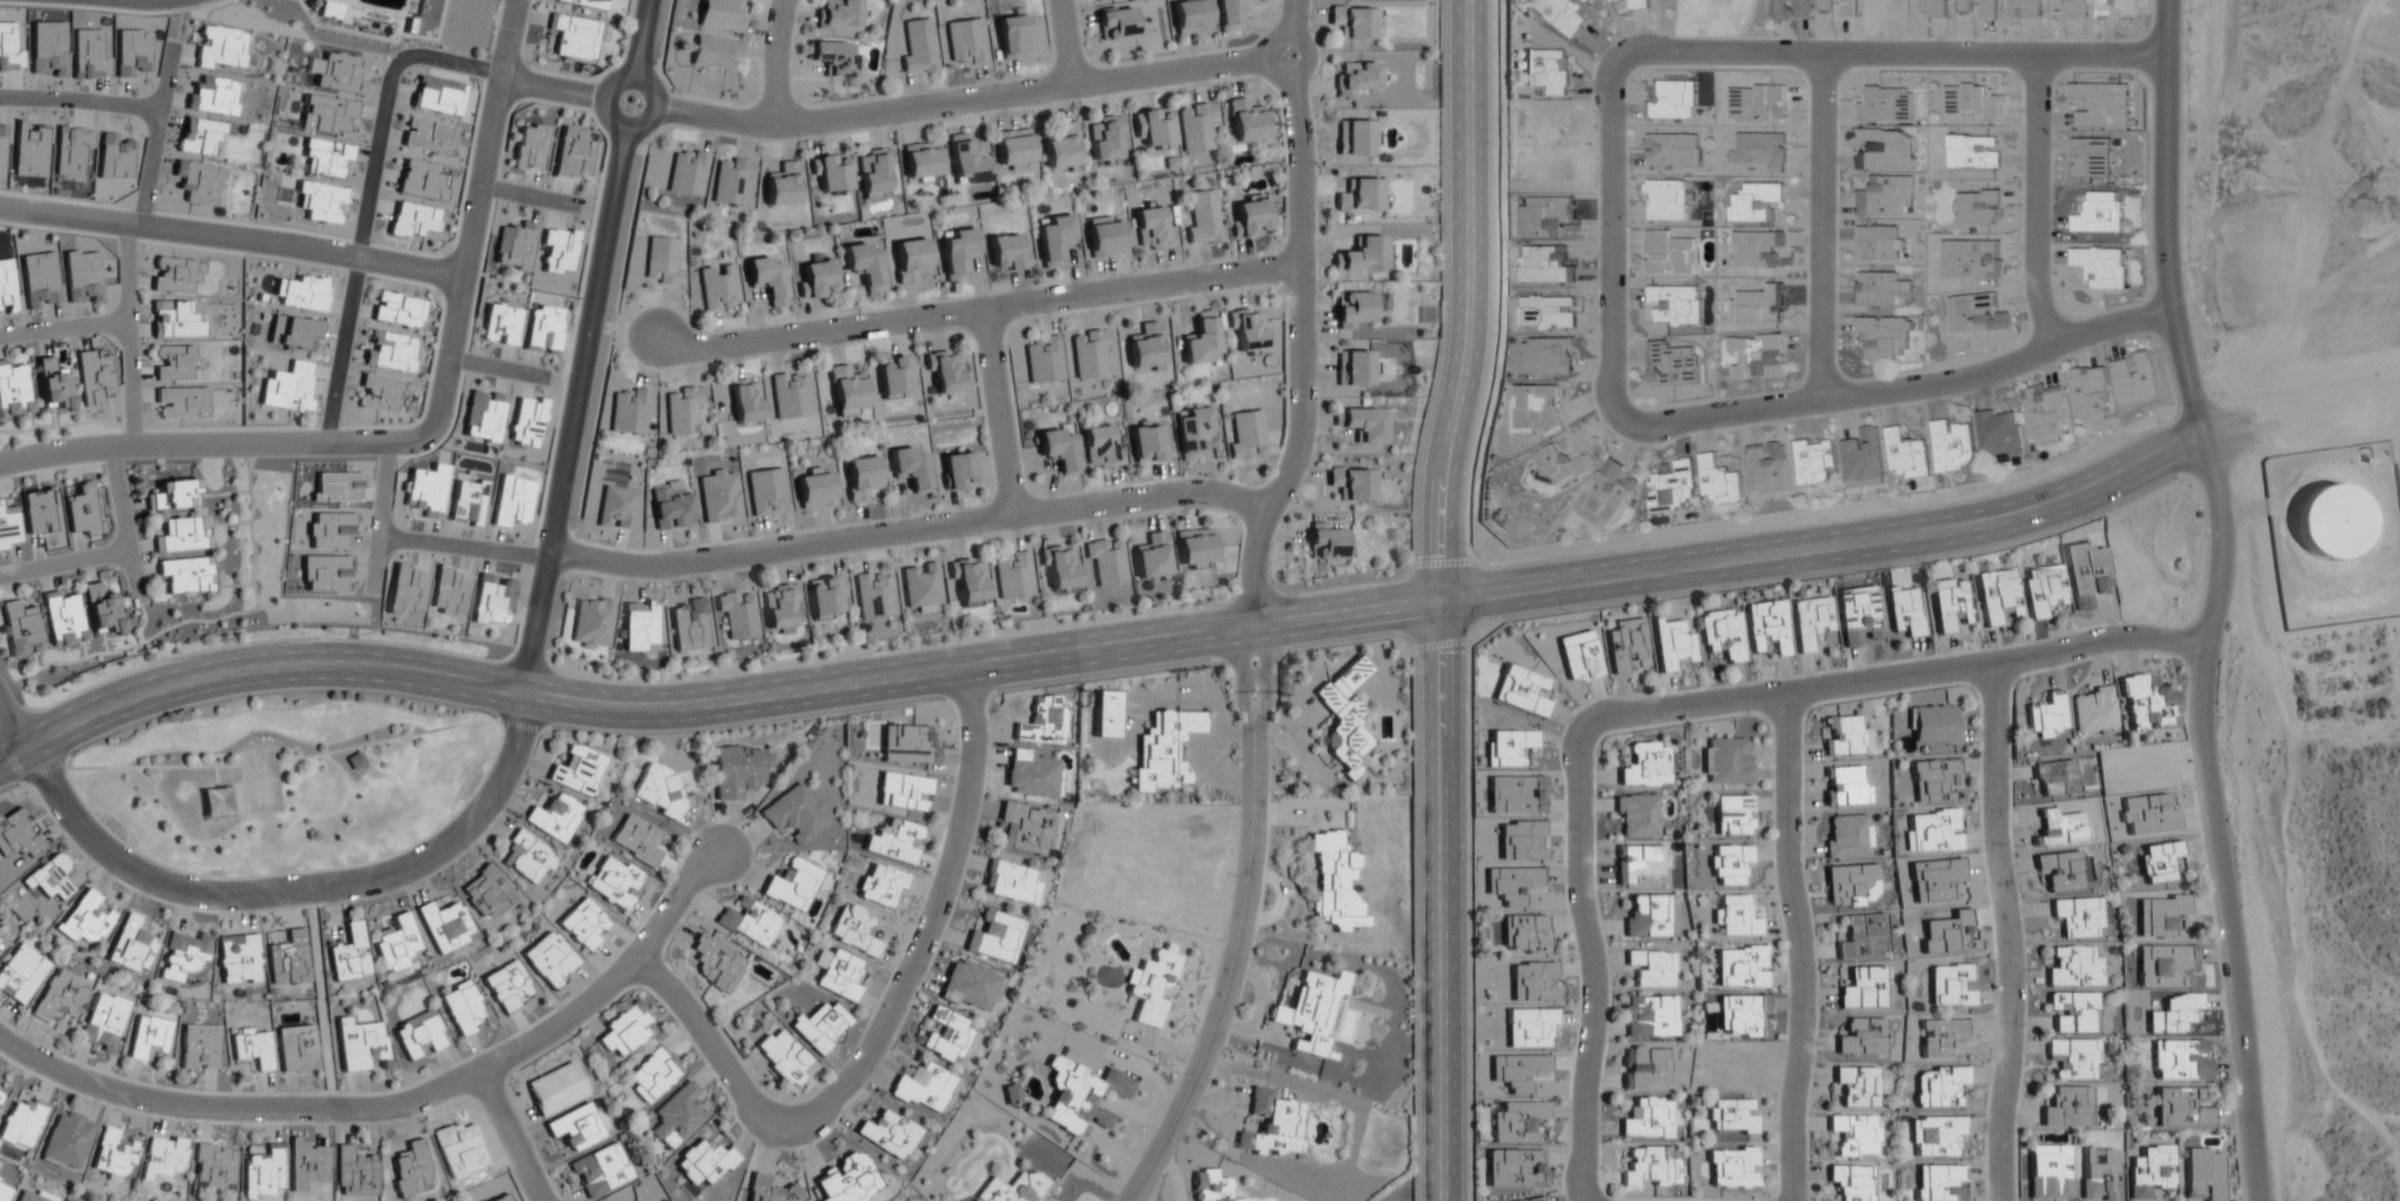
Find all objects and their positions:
building: (587, 4)
building: (1639, 4)
building: (2073, 8)
building: (2117, 8)
building: (330, 10)
building: (1790, 10)
street lamp: (177, 13)
building: (839, 13)
building: (1563, 13)
building: (1230, 14)
building: (722, 15)
building: (1190, 17)
road: (1293, 18)
building: (1360, 24)
building: (368, 25)
building: (1116, 25)
street lamp: (1261, 31)
street lamp: (1814, 36)
street lamp: (2047, 36)
building: (574, 37)
building: (1013, 37)
building: (965, 42)
road: (1065, 42)
building: (919, 46)
building: (220, 48)
street lamp: (1438, 50)
building: (713, 55)
building: (833, 57)
street lamp: (1595, 58)
road: (780, 59)
building: (1547, 69)
building: (338, 73)
road: (1287, 76)
building: (1356, 78)
building: (212, 94)
building: (437, 95)
road: (81, 99)
building: (1972, 100)
street lamp: (1078, 102)
building: (2102, 103)
road: (382, 106)
road: (880, 111)
building: (326, 115)
building: (1246, 122)
building: (1197, 128)
building: (1154, 130)
road: (156, 133)
building: (428, 136)
building: (201, 137)
building: (1356, 138)
building: (1105, 139)
building: (1, 145)
street lamp: (1497, 145)
building: (529, 146)
building: (1671, 149)
building: (1062, 150)
building: (1973, 150)
building: (1014, 151)
building: (572, 155)
building: (2091, 156)
building: (325, 159)
building: (921, 164)
building: (966, 164)
building: (687, 172)
building: (831, 174)
building: (874, 175)
building: (422, 181)
building: (200, 182)
building: (732, 183)
building: (783, 186)
road: (519, 193)
building: (1359, 196)
building: (1665, 199)
road: (2036, 200)
building: (1758, 201)
building: (320, 202)
building: (1977, 206)
street lamp: (158, 209)
building: (2099, 212)
building: (1203, 218)
building: (1249, 219)
building: (411, 220)
street lamp: (1440, 224)
street lamp: (1803, 226)
road: (1821, 226)
building: (1152, 227)
road: (227, 237)
building: (1104, 237)
street lamp: (344, 238)
building: (1053, 239)
street lamp: (1593, 239)
building: (1878, 241)
building: (515, 245)
road: (1611, 246)
building: (558, 250)
building: (1008, 252)
building: (957, 253)
building: (1669, 253)
building: (1362, 254)
building: (1973, 257)
building: (661, 260)
building: (911, 260)
building: (864, 265)
building: (2100, 265)
building: (175, 273)
building: (815, 278)
building: (39, 279)
building: (767, 279)
building: (6, 288)
building: (1877, 288)
building: (718, 289)
building: (300, 294)
building: (1677, 303)
building: (397, 309)
building: (1354, 309)
building: (1977, 313)
road: (978, 314)
building: (175, 320)
building: (500, 323)
road: (63, 327)
building: (542, 329)
building: (1248, 329)
building: (292, 332)
road: (128, 333)
street lamp: (1495, 335)
building: (1885, 335)
building: (1201, 339)
road: (588, 346)
building: (1146, 347)
road: (341, 350)
building: (390, 351)
street lamp: (115, 352)
building: (1089, 354)
building: (1759, 354)
road: (1300, 357)
building: (1044, 359)
building: (174, 363)
building: (1671, 363)
road: (492, 365)
building: (1354, 369)
building: (945, 372)
building: (895, 375)
building: (2136, 377)
building: (52, 384)
building: (13, 388)
building: (288, 388)
building: (848, 390)
building: (379, 394)
building: (2091, 394)
building: (790, 395)
street lamp: (1429, 397)
building: (745, 402)
building: (181, 403)
building: (1535, 408)
building: (628, 411)
building: (2046, 411)
building: (681, 413)
road: (1002, 413)
street lamp: (1594, 414)
building: (483, 416)
street lamp: (1788, 421)
road: (2320, 421)
building: (527, 422)
street lamp: (2163, 422)
road: (423, 423)
building: (1362, 423)
building: (1191, 432)
building: (2001, 432)
building: (1246, 434)
building: (1149, 444)
building: (1953, 445)
building: (1100, 447)
building: (1058, 449)
building: (1908, 453)
street lamp: (418, 455)
building: (1814, 458)
building: (1864, 458)
street lamp: (174, 461)
building: (1556, 465)
building: (909, 467)
building: (958, 471)
building: (861, 477)
building: (1722, 479)
building: (1353, 483)
building: (1674, 486)
building: (814, 490)
street lamp: (1999, 490)
building: (766, 492)
building: (1607, 492)
building: (174, 495)
building: (718, 497)
building: (467, 502)
building: (670, 505)
building: (616, 508)
building: (37, 511)
building: (81, 511)
road: (379, 518)
street lamp: (1825, 518)
street lamp: (2090, 520)
building: (2331, 521)
water tower: (2331, 522)
road: (124, 523)
building: (8, 528)
road: (907, 529)
building: (182, 535)
building: (1328, 542)
road: (464, 543)
street lamp: (1646, 543)
street lamp: (1467, 545)
building: (1195, 548)
building: (1152, 558)
road: (64, 562)
building: (1108, 564)
street lamp: (1922, 564)
building: (1060, 570)
building: (187, 576)
building: (1012, 576)
street lamp: (1393, 578)
street lamp: (121, 579)
building: (968, 580)
building: (920, 586)
street lamp: (1744, 587)
building: (407, 590)
building: (2043, 590)
building: (874, 595)
building: (1998, 595)
road: (1441, 598)
building: (825, 599)
road: (2216, 599)
building: (493, 600)
building: (1949, 603)
street lamp: (1214, 604)
building: (780, 609)
building: (101, 610)
building: (1904, 610)
street lamp: (1567, 612)
building: (1857, 614)
building: (737, 615)
building: (62, 618)
building: (1810, 621)
building: (591, 623)
building: (638, 624)
building: (689, 625)
building: (1766, 625)
building: (20, 628)
building: (1721, 635)
street lamp: (241, 642)
road: (1135, 642)
building: (1626, 643)
street lamp: (925, 644)
building: (1673, 644)
street lamp: (1986, 646)
building: (1580, 656)
street lamp: (491, 658)
road: (1264, 675)
street lamp: (689, 677)
road: (1242, 677)
street lamp: (1750, 679)
street lamp: (2186, 679)
building: (1522, 691)
street lamp: (1468, 692)
street lamp: (1252, 704)
building: (2144, 704)
street lamp: (1580, 705)
road: (1659, 709)
building: (2093, 710)
building: (1105, 715)
building: (1343, 716)
building: (2047, 717)
building: (1042, 721)
road: (13, 723)
building: (1933, 724)
street lamp: (253, 735)
building: (1842, 736)
building: (1508, 747)
building: (1163, 748)
road: (13, 753)
street lamp: (371, 753)
building: (1726, 761)
building: (1645, 765)
building: (739, 771)
building: (577, 772)
street lamp: (151, 773)
building: (1032, 774)
building: (2054, 778)
park: (284, 779)
building: (1930, 779)
building: (659, 791)
building: (903, 792)
building: (215, 803)
street lamp: (504, 811)
building: (795, 813)
building: (1733, 815)
building: (1637, 816)
building: (554, 817)
street lamp: (742, 826)
building: (1026, 829)
building: (1932, 830)
building: (18, 835)
building: (1848, 836)
building: (637, 840)
building: (894, 841)
street lamp: (1468, 857)
building: (528, 859)
building: (2158, 861)
building: (1728, 863)
building: (2065, 869)
street lamp: (1230, 875)
building: (49, 878)
street lamp: (1412, 879)
building: (615, 881)
building: (1334, 881)
building: (1009, 882)
building: (792, 885)
building: (1852, 885)
building: (881, 886)
street lamp: (2206, 888)
road: (296, 889)
building: (485, 892)
street lamp: (959, 894)
street lamp: (361, 901)
street lamp: (1986, 904)
street lamp: (172, 907)
building: (2160, 914)
building: (1648, 917)
building: (1734, 917)
building: (2079, 917)
building: (88, 918)
building: (749, 922)
building: (584, 924)
building: (445, 926)
building: (855, 931)
road: (2008, 931)
building: (1525, 933)
building: (995, 937)
building: (1863, 937)
street lamp: (1782, 941)
building: (1, 945)
building: (396, 945)
road: (1800, 945)
building: (131, 947)
building: (349, 955)
building: (183, 957)
street lamp: (1575, 958)
building: (238, 960)
building: (288, 960)
building: (550, 960)
building: (716, 964)
building: (2166, 964)
building: (1741, 967)
building: (2073, 967)
building: (1652, 968)
building: (20, 973)
building: (837, 974)
road: (1229, 974)
building: (1533, 981)
building: (1952, 985)
building: (970, 986)
building: (1153, 986)
building: (509, 987)
building: (1863, 988)
building: (59, 996)
road: (314, 998)
building: (464, 1008)
building: (1314, 1012)
building: (2073, 1012)
building: (2174, 1013)
building: (1649, 1017)
building: (1741, 1017)
road: (883, 1020)
building: (103, 1023)
building: (820, 1026)
building: (1530, 1027)
building: (624, 1030)
street lamp: (1469, 1032)
building: (418, 1036)
street lamp: (573, 1036)
building: (946, 1036)
building: (149, 1037)
building: (1862, 1037)
building: (359, 1044)
building: (252, 1046)
building: (200, 1048)
building: (296, 1049)
building: (783, 1058)
building: (2073, 1058)
building: (2180, 1059)
street lamp: (1178, 1073)
building: (651, 1075)
building: (1858, 1086)
building: (1940, 1086)
street lamp: (863, 1088)
building: (924, 1088)
building: (556, 1089)
building: (1010, 1094)
building: (0, 1095)
building: (1082, 1095)
road: (399, 1102)
building: (2067, 1107)
building: (2181, 1108)
street lamp: (1413, 1114)
building: (679, 1115)
building: (1732, 1115)
street lamp: (786, 1118)
building: (1649, 1118)
building: (1518, 1121)
building: (21, 1123)
street lamp: (193, 1123)
building: (1272, 1124)
street lamp: (377, 1125)
building: (575, 1127)
building: (889, 1134)
building: (1856, 1134)
road: (509, 1136)
building: (1935, 1136)
building: (68, 1139)
building: (112, 1155)
building: (163, 1156)
building: (705, 1158)
building: (305, 1164)
building: (213, 1167)
building: (1648, 1167)
building: (1514, 1168)
building: (1731, 1168)
building: (409, 1169)
building: (600, 1170)
street lamp: (546, 1171)
building: (2049, 1171)
building: (2152, 1171)
building: (263, 1172)
building: (354, 1172)
building: (2205, 1174)
building: (2100, 1175)
building: (849, 1181)
building: (1851, 1182)
building: (1210, 1186)
street lamp: (1775, 1186)
building: (1014, 1188)
building: (769, 1189)
building: (4, 1190)
building: (32, 1195)
building: (500, 1197)
street lamp: (1983, 1199)
building: (1533, 1200)

